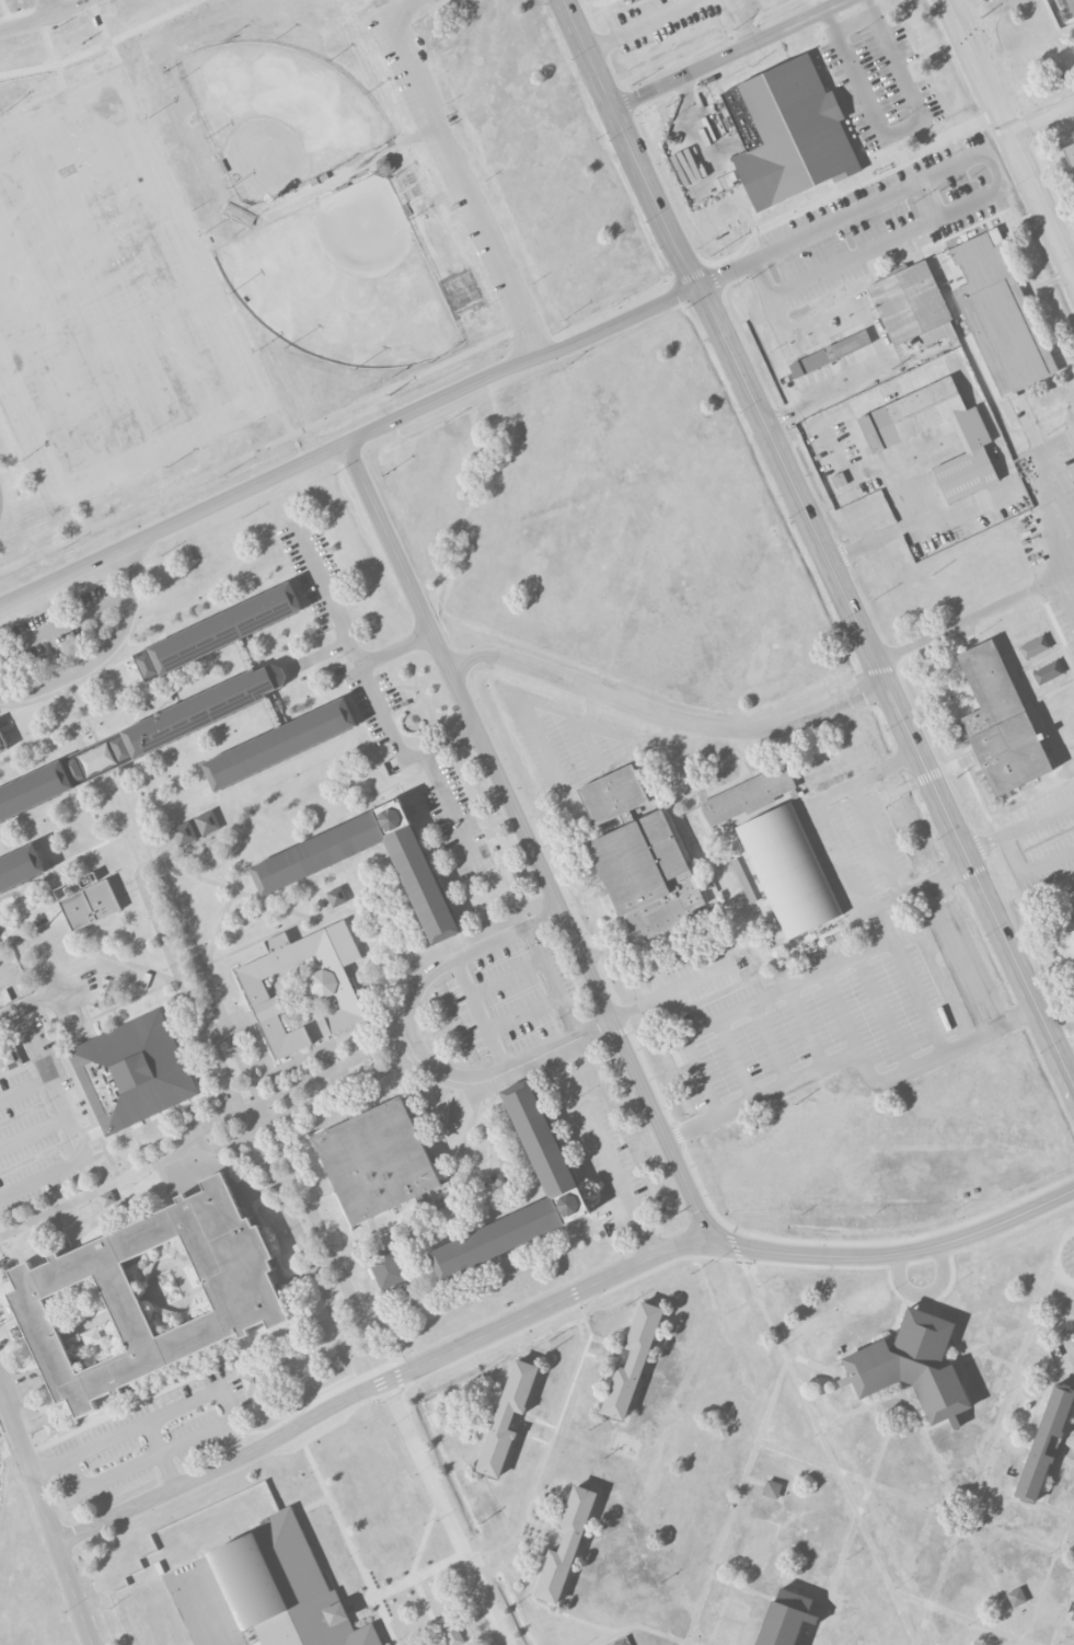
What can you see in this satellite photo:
road: (949, 0)
parking lot: (980, 1)
building: (1071, 4)
road: (50, 7)
road: (402, 7)
road: (4, 8)
road: (30, 10)
road: (954, 13)
road: (45, 16)
parking lot: (672, 18)
road: (744, 23)
road: (640, 25)
road: (856, 26)
road: (132, 31)
road: (735, 55)
road: (56, 65)
parking lot: (881, 82)
park: (278, 115)
road: (1042, 125)
road: (901, 130)
building: (789, 134)
road: (630, 143)
road: (1017, 151)
building: (1071, 156)
road: (992, 163)
building: (384, 166)
road: (464, 186)
road: (927, 203)
parking lot: (879, 226)
park: (344, 281)
building: (912, 308)
building: (1001, 317)
road: (504, 336)
building: (831, 354)
road: (521, 364)
building: (893, 430)
building: (839, 480)
road: (172, 527)
road: (397, 556)
road: (335, 601)
road: (981, 613)
road: (66, 617)
building: (218, 632)
road: (397, 644)
building: (1033, 647)
road: (103, 653)
building: (1047, 672)
road: (887, 681)
road: (66, 688)
road: (524, 706)
road: (667, 718)
building: (1001, 724)
road: (402, 738)
building: (137, 740)
road: (635, 741)
building: (2, 745)
building: (279, 745)
building: (748, 796)
building: (207, 822)
road: (1020, 827)
building: (184, 833)
road: (875, 840)
building: (639, 858)
road: (155, 865)
building: (20, 867)
building: (788, 870)
road: (854, 879)
building: (274, 882)
road: (923, 883)
building: (336, 897)
building: (90, 906)
building: (1067, 947)
road: (579, 950)
road: (972, 969)
road: (551, 977)
road: (425, 985)
building: (332, 989)
road: (9, 1010)
road: (478, 1010)
road: (610, 1015)
road: (1063, 1027)
road: (858, 1057)
building: (10, 1059)
building: (132, 1072)
road: (26, 1090)
road: (63, 1103)
building: (542, 1144)
building: (377, 1161)
building: (503, 1181)
road: (623, 1185)
flagpole: (1070, 1239)
flagpole: (1065, 1244)
flagpole: (1063, 1250)
road: (896, 1254)
flagpole: (1061, 1255)
flagpole: (1062, 1263)
building: (388, 1268)
flagpole: (1064, 1269)
flagpole: (1069, 1274)
flagpole: (1073, 1278)
road: (924, 1291)
building: (147, 1297)
road: (1004, 1338)
building: (632, 1360)
road: (809, 1362)
building: (912, 1367)
road: (1025, 1368)
building: (250, 1381)
road: (381, 1388)
road: (1006, 1393)
road: (226, 1404)
road: (862, 1408)
building: (507, 1418)
road: (974, 1422)
building: (50, 1428)
road: (113, 1435)
road: (553, 1439)
building: (1044, 1442)
road: (1063, 1445)
road: (830, 1452)
road: (748, 1470)
road: (112, 1477)
road: (875, 1484)
road: (1048, 1487)
building: (772, 1488)
road: (311, 1505)
road: (960, 1511)
road: (451, 1515)
road: (856, 1518)
road: (47, 1521)
road: (423, 1543)
road: (349, 1544)
building: (565, 1544)
road: (980, 1556)
road: (716, 1560)
road: (1049, 1572)
road: (401, 1585)
building: (285, 1588)
building: (1016, 1597)
road: (429, 1612)
road: (696, 1612)
road: (577, 1617)
road: (1063, 1617)
building: (1073, 1617)
building: (785, 1619)
road: (965, 1619)
road: (637, 1625)
building: (452, 1635)
building: (621, 1643)
road: (684, 1644)

